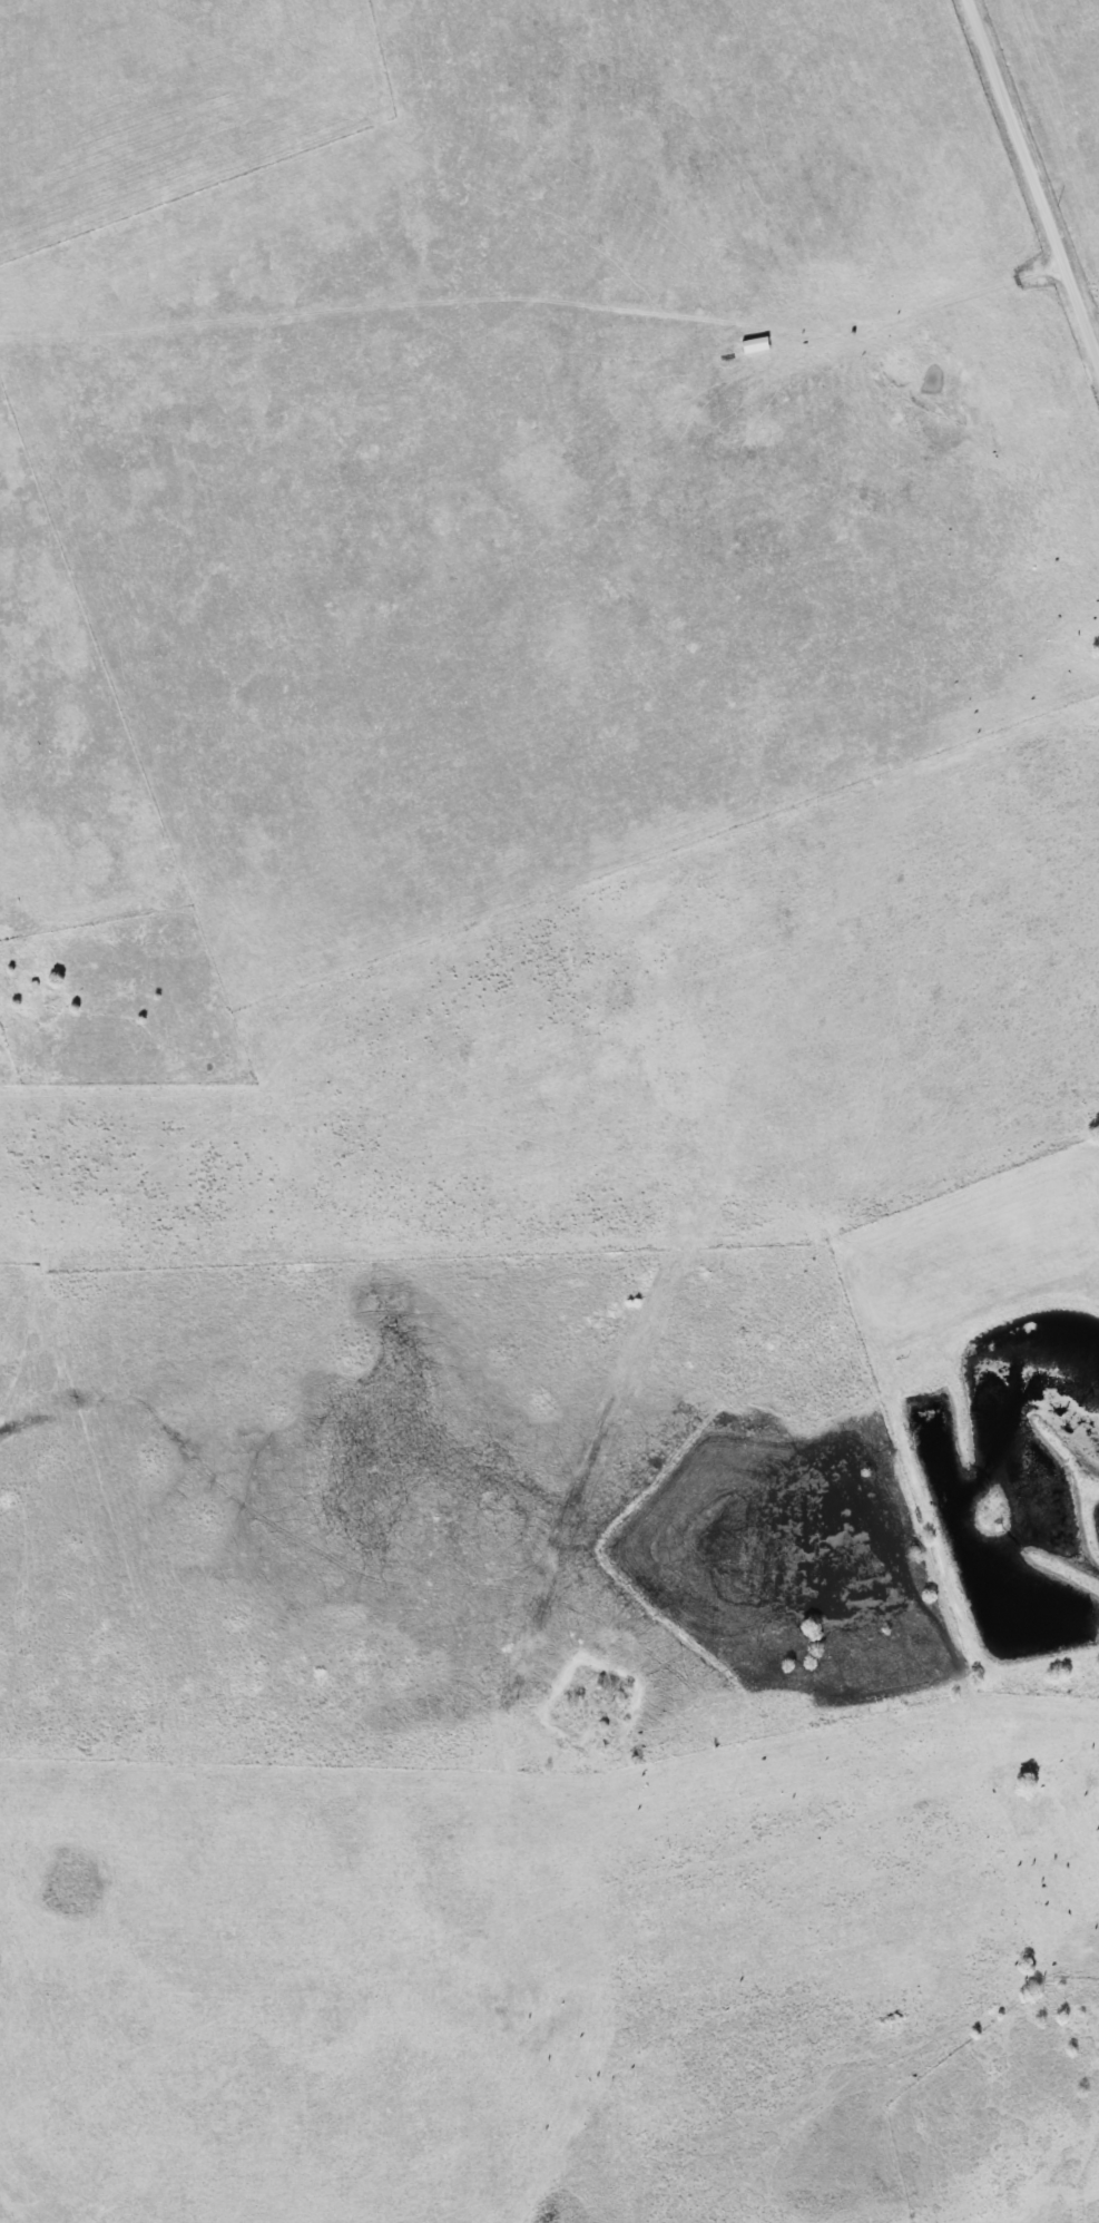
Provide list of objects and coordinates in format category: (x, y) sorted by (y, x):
road: (1032, 184)
road: (933, 298)

